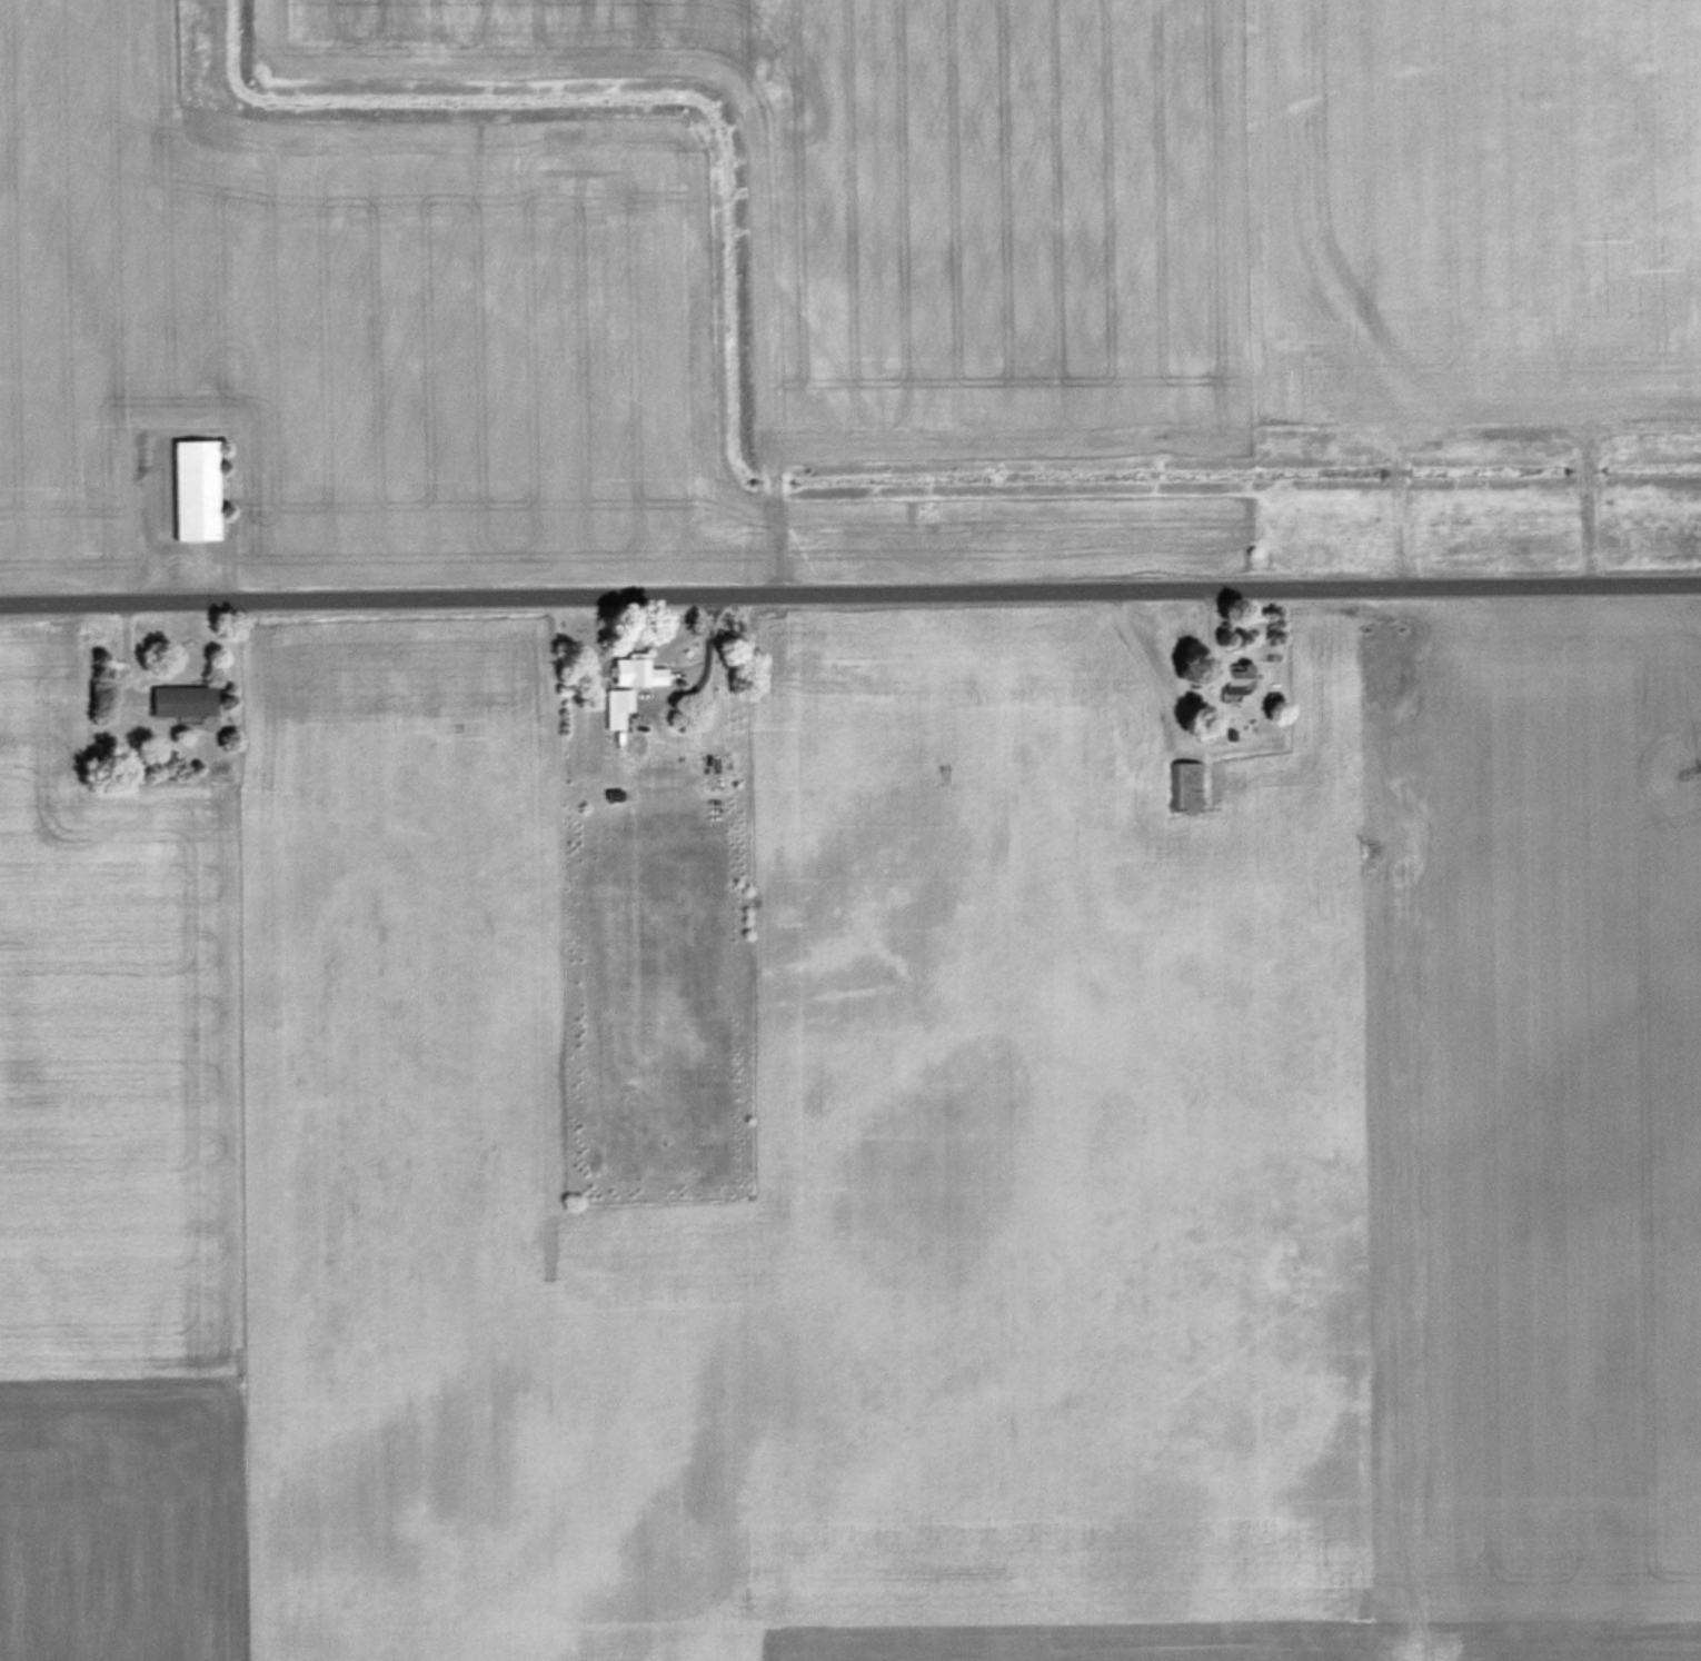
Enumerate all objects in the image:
building: (199, 488)
road: (850, 596)
building: (1243, 676)
building: (627, 688)
building: (187, 699)

